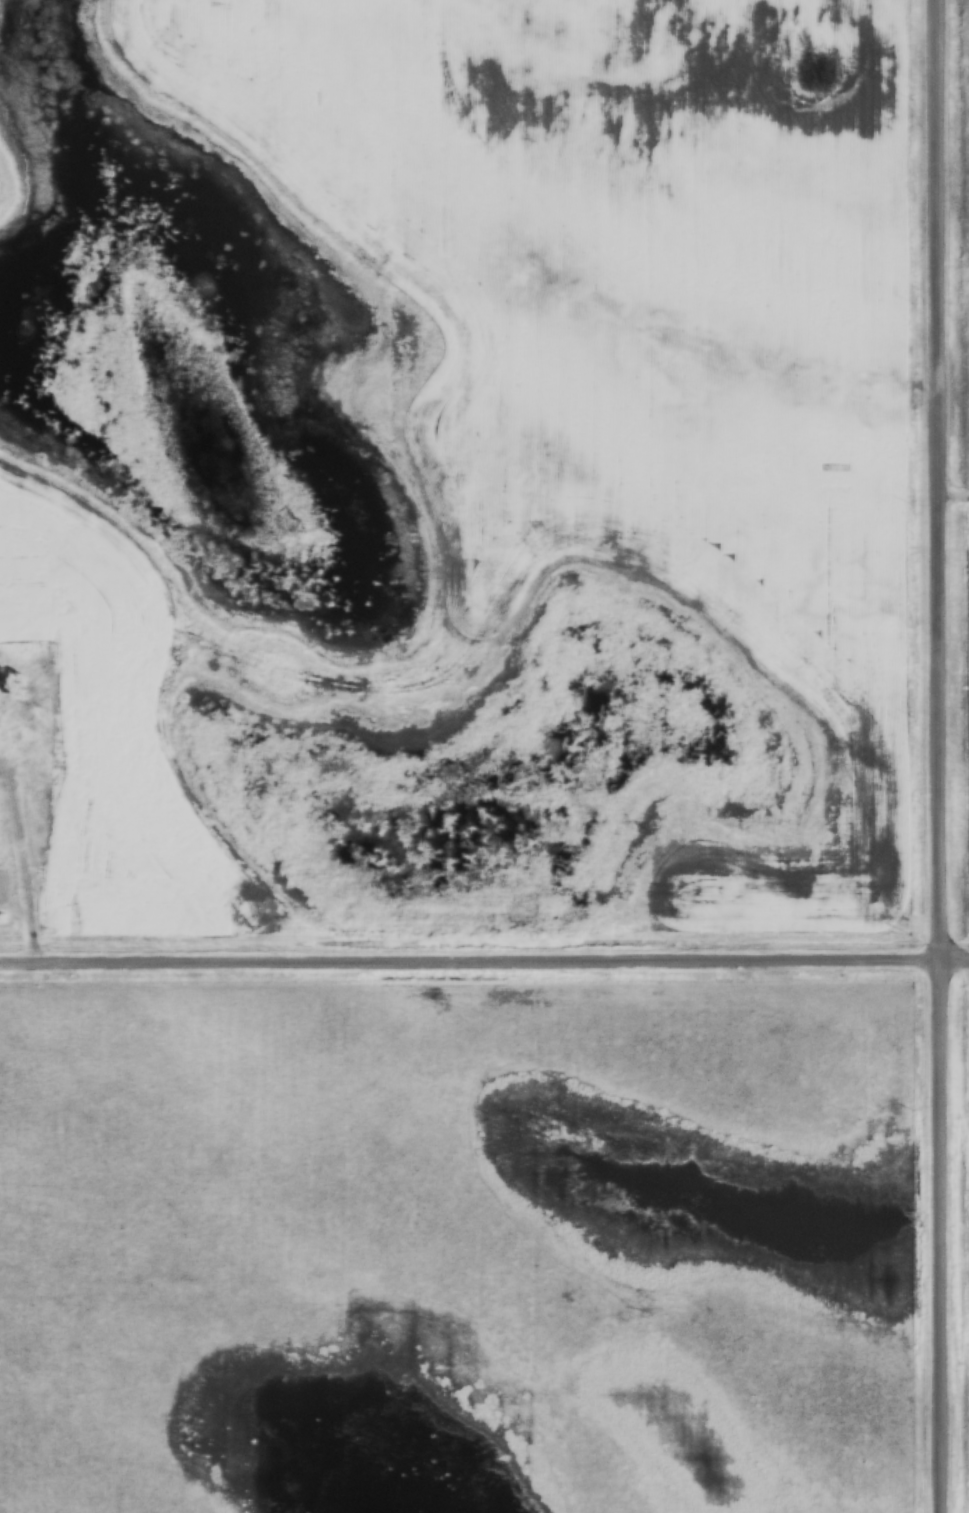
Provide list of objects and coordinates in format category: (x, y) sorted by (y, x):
road: (936, 756)
road: (484, 965)

